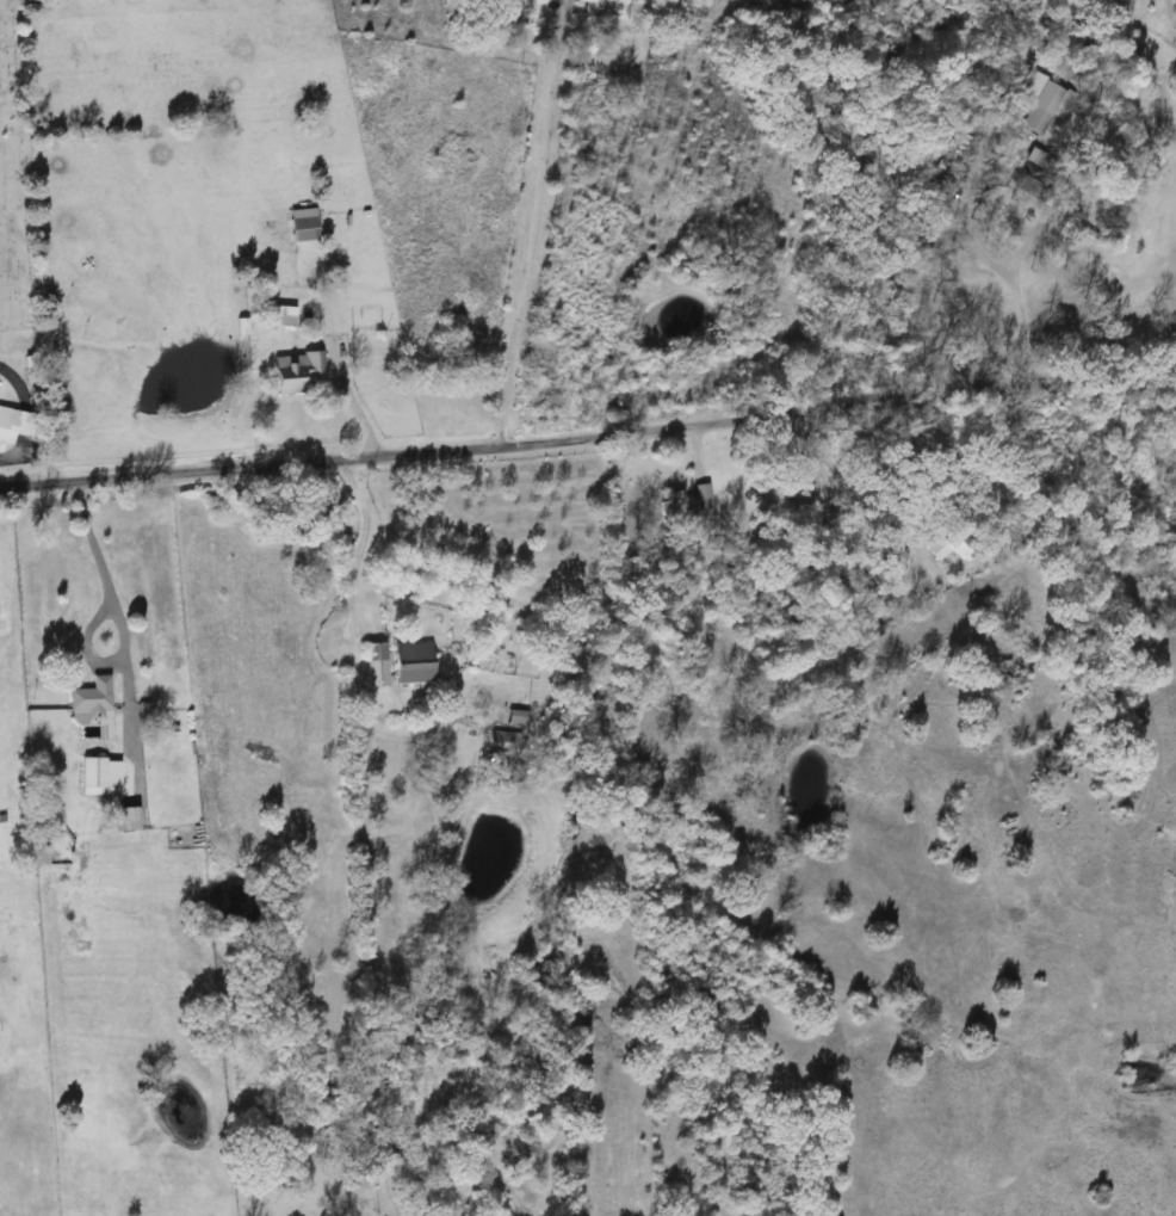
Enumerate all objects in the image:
building: (601, 8)
building: (1041, 109)
park: (14, 184)
building: (299, 226)
building: (276, 316)
road: (10, 375)
building: (5, 425)
road: (847, 439)
road: (258, 464)
road: (363, 536)
building: (893, 557)
road: (119, 613)
building: (862, 625)
building: (372, 665)
building: (88, 705)
building: (95, 777)
building: (124, 817)
building: (44, 820)

